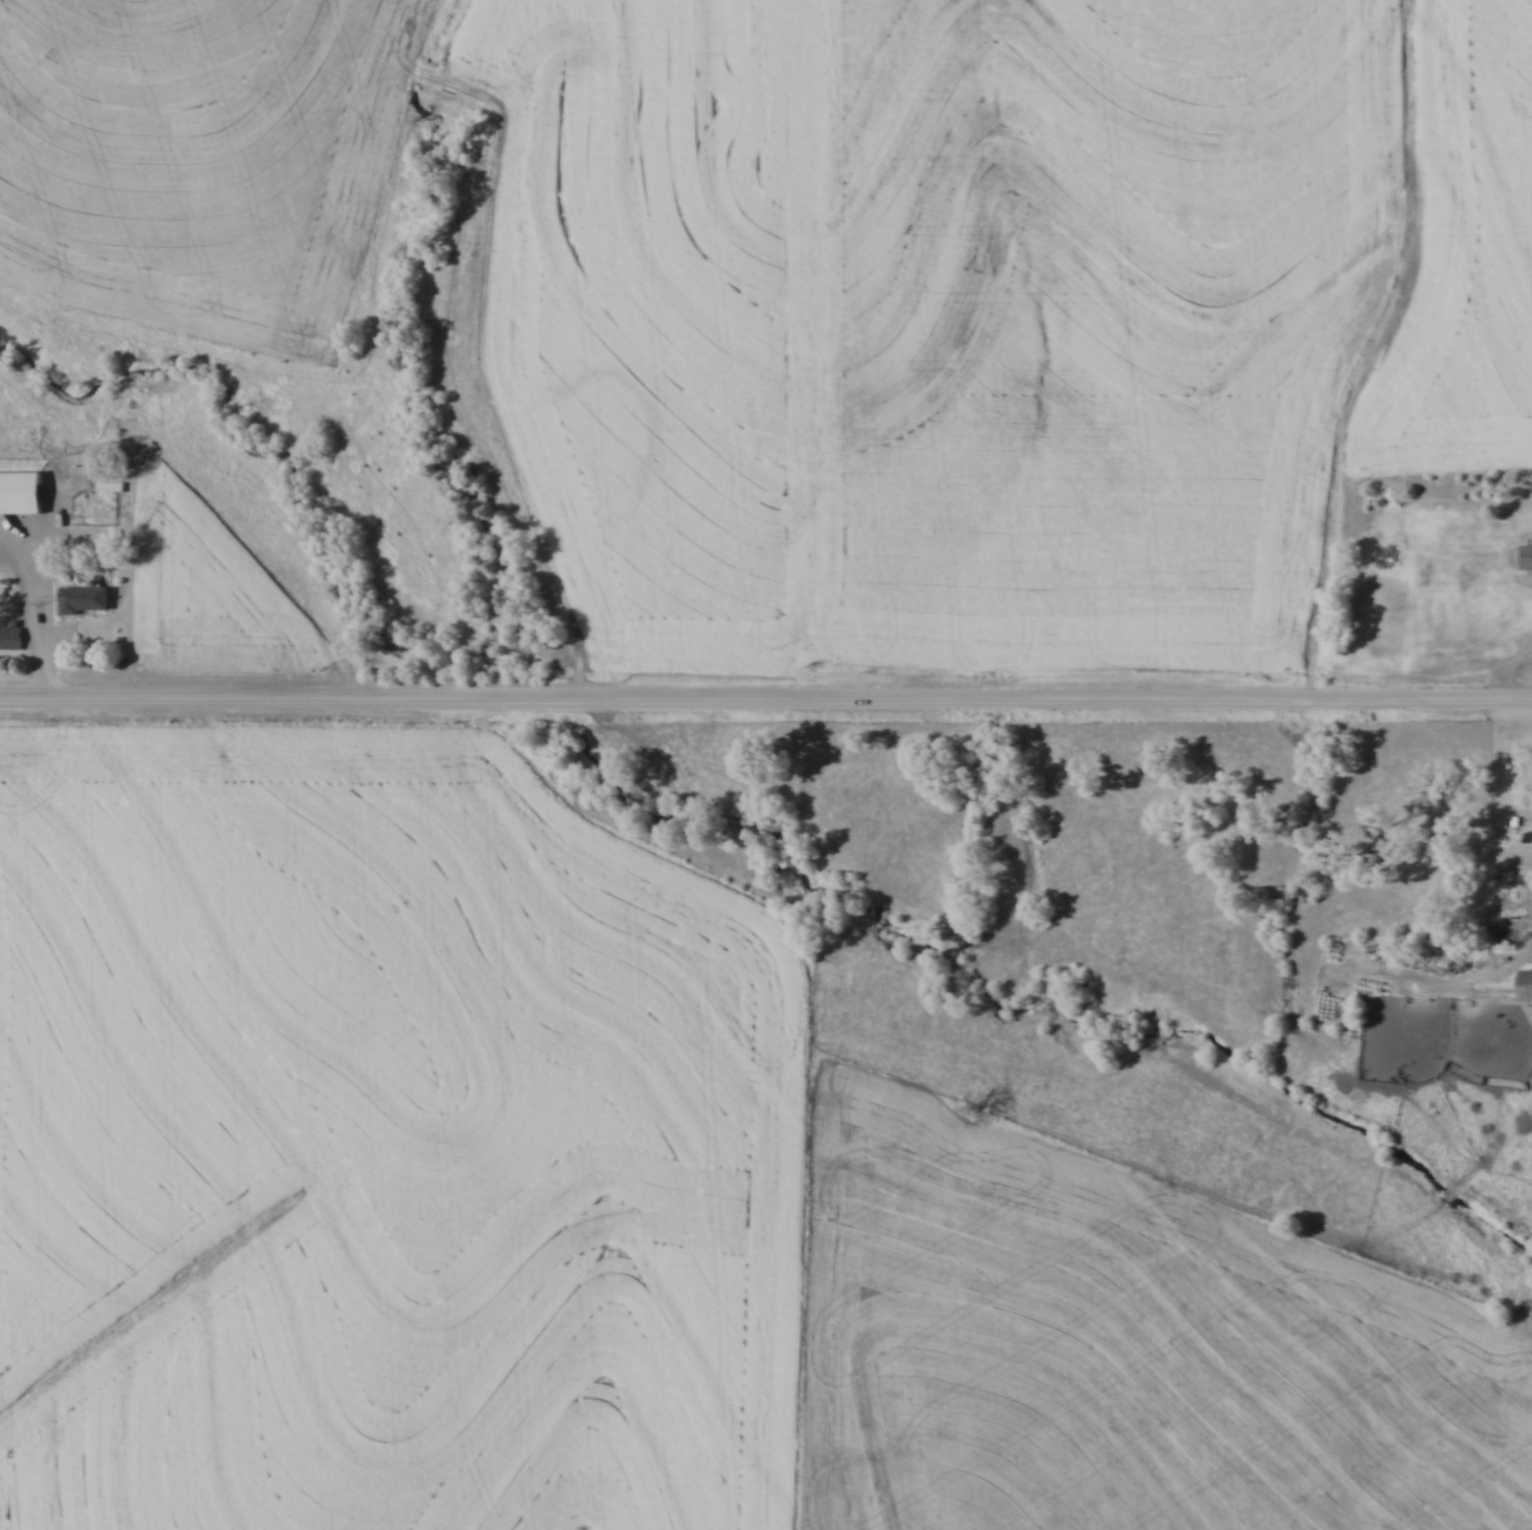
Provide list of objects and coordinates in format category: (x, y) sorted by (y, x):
building: (110, 487)
building: (22, 493)
building: (1527, 557)
building: (85, 600)
road: (30, 616)
building: (11, 639)
road: (765, 702)
building: (1512, 930)
building: (1528, 986)

